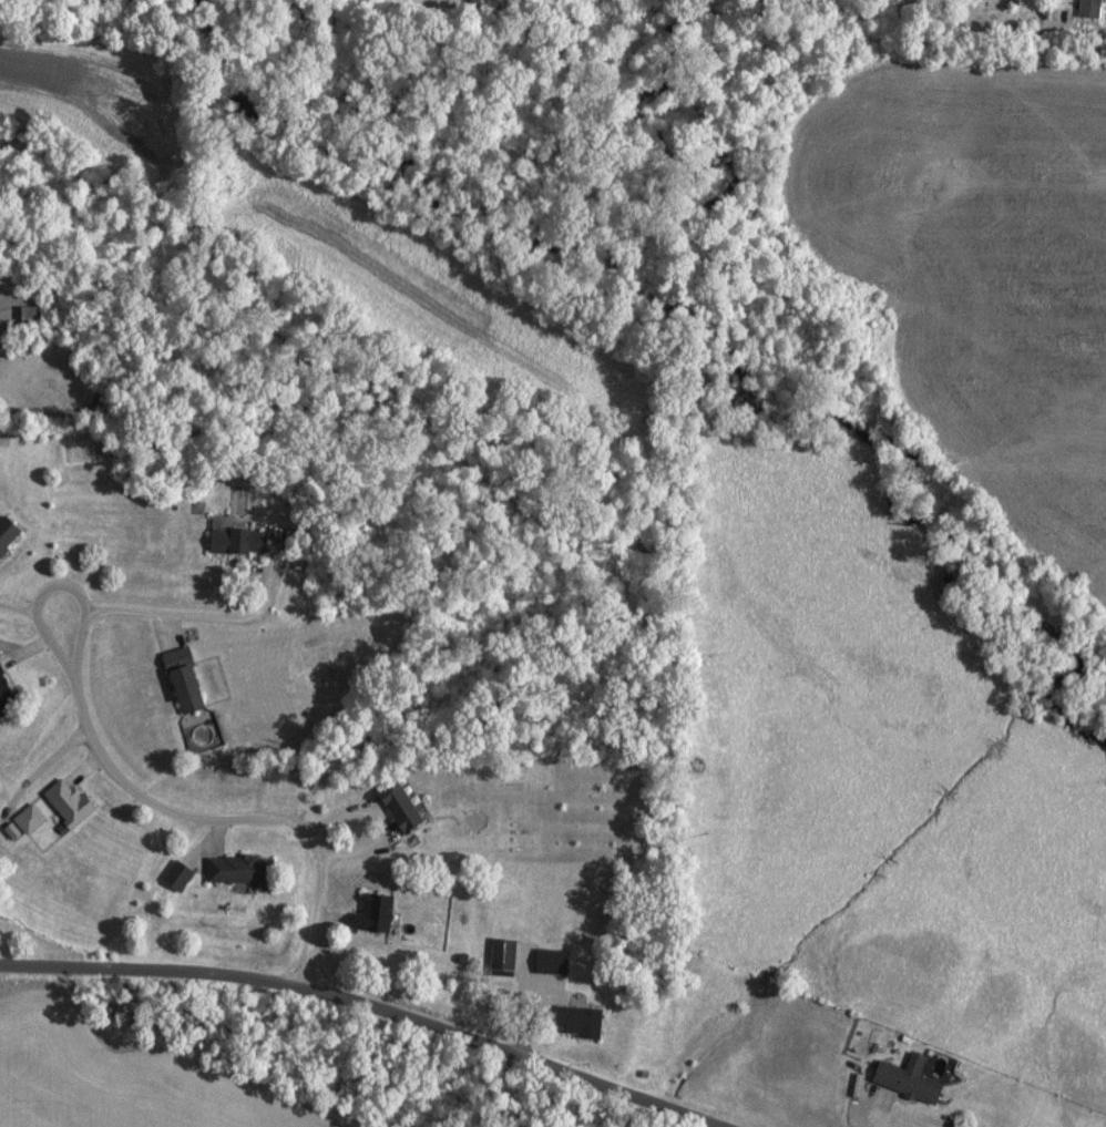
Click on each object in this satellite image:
building: (1085, 8)
building: (25, 311)
building: (6, 532)
building: (234, 540)
road: (187, 616)
building: (180, 687)
building: (2, 688)
road: (132, 785)
building: (63, 800)
building: (395, 806)
building: (27, 817)
building: (233, 868)
building: (174, 874)
building: (369, 913)
building: (499, 956)
building: (547, 960)
road: (369, 1001)
building: (575, 1021)
building: (904, 1077)
crop: (115, 1083)

